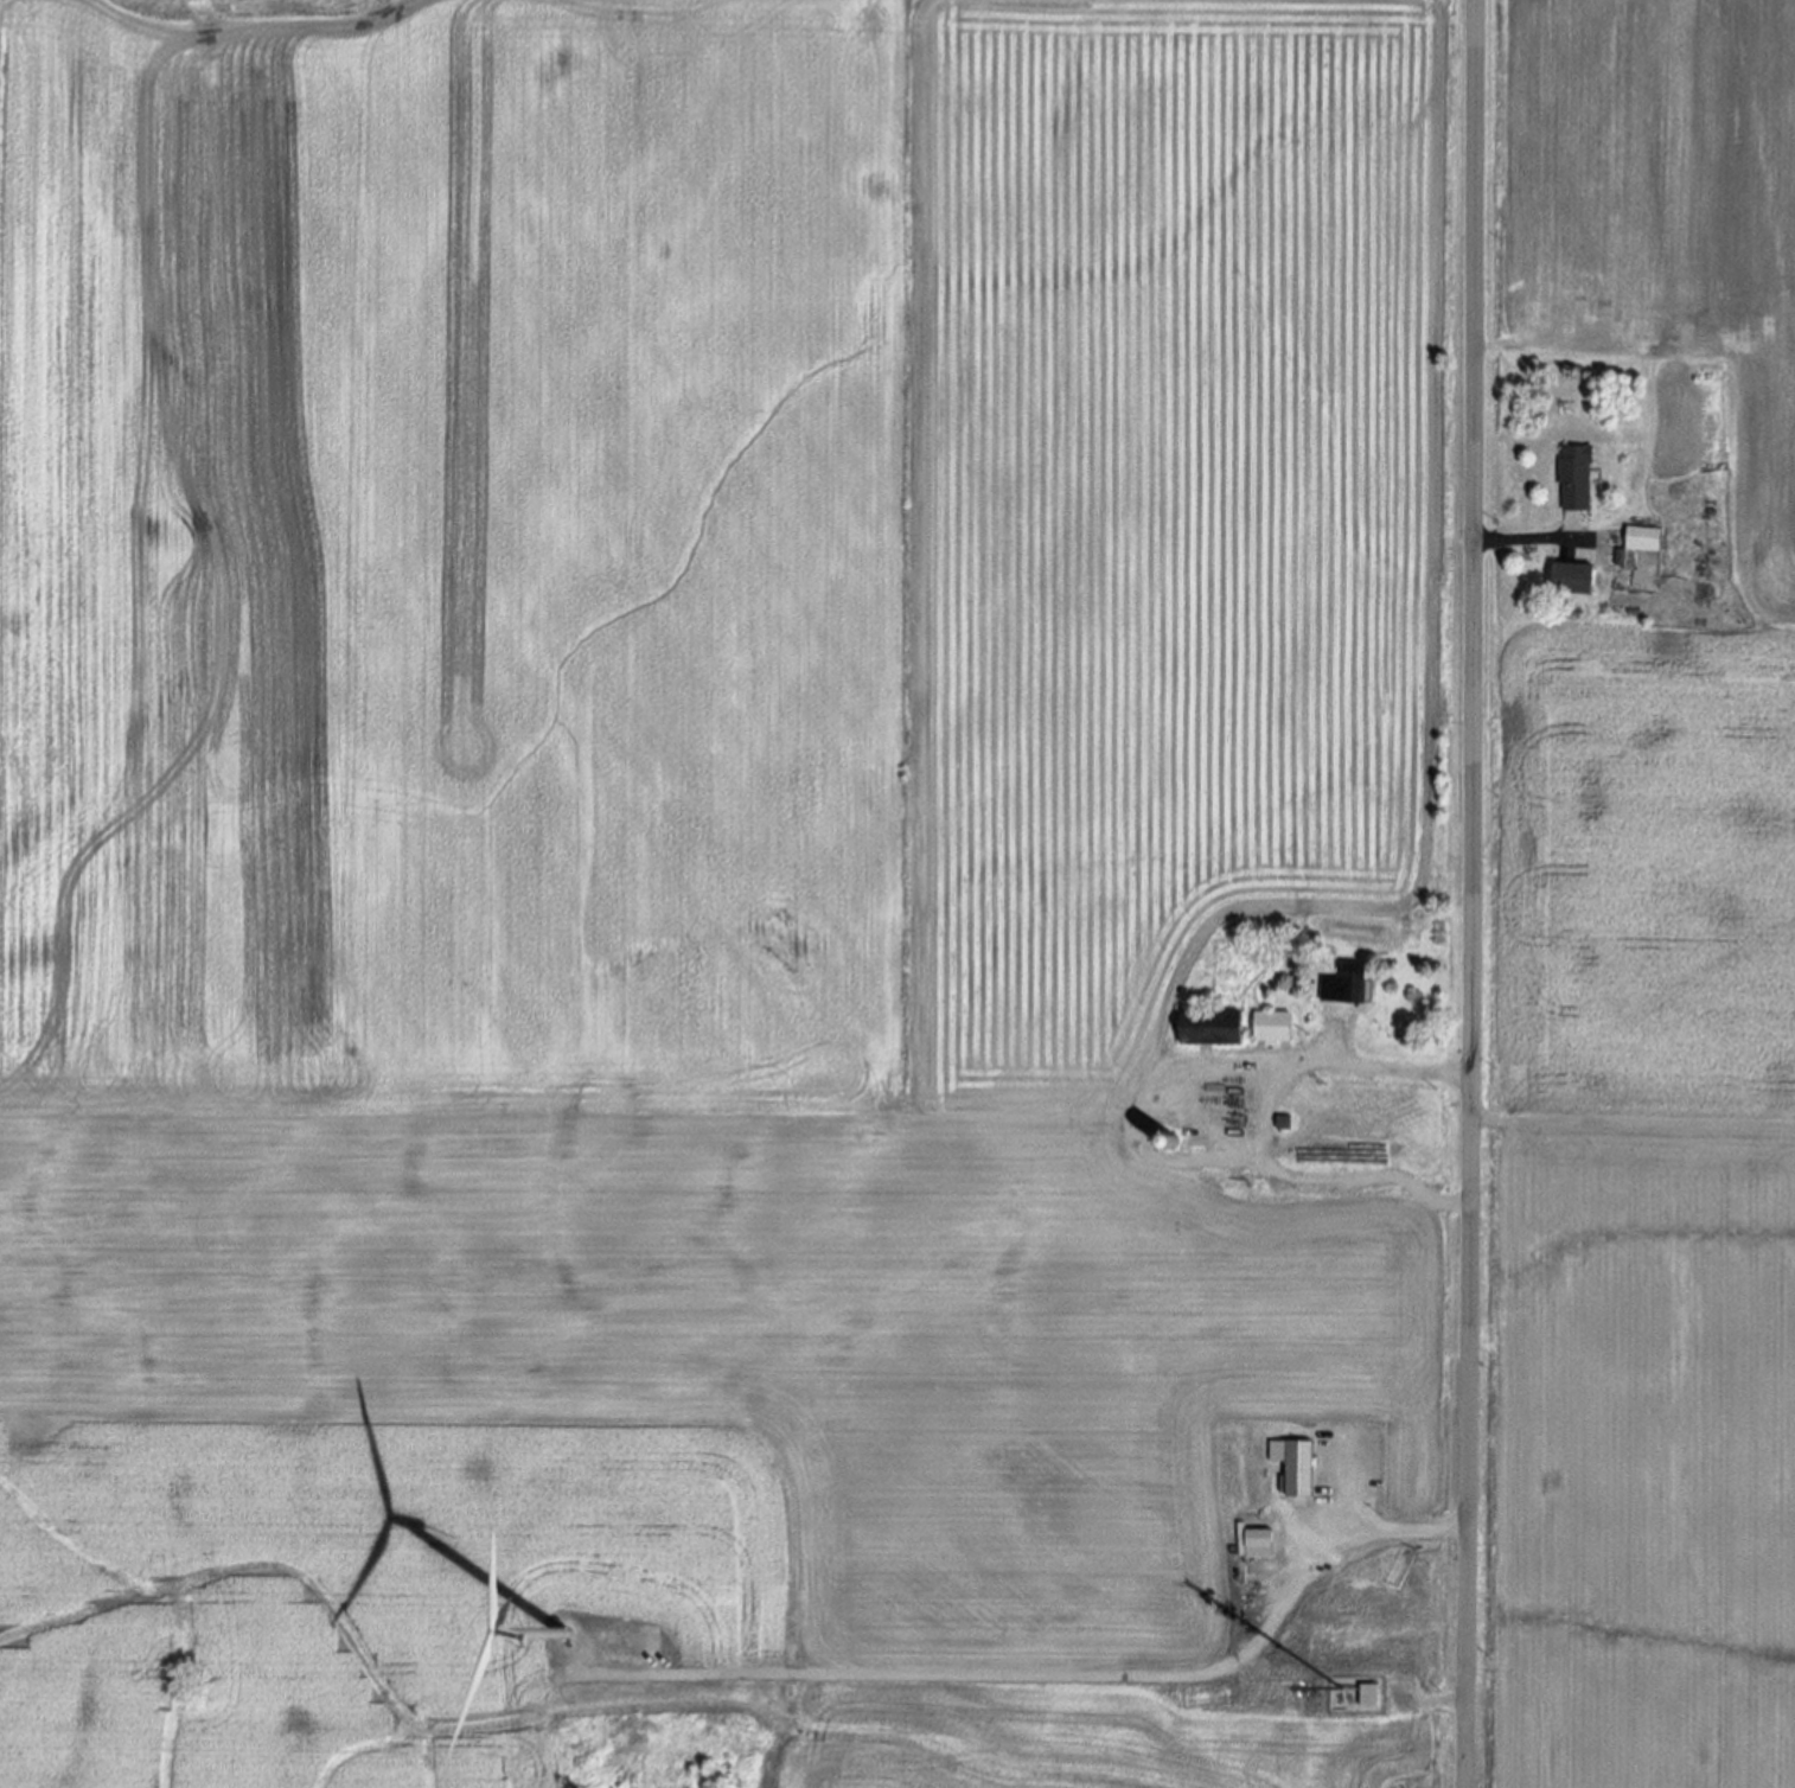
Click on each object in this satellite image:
building: (1573, 479)
road: (1525, 539)
building: (1641, 541)
building: (1571, 581)
road: (1469, 894)
building: (1344, 986)
building: (1270, 1027)
building: (1207, 1029)
road: (1154, 1073)
road: (1360, 1180)
building: (1297, 1470)
building: (1253, 1545)
wind turbine: (562, 1635)
road: (1047, 1679)

